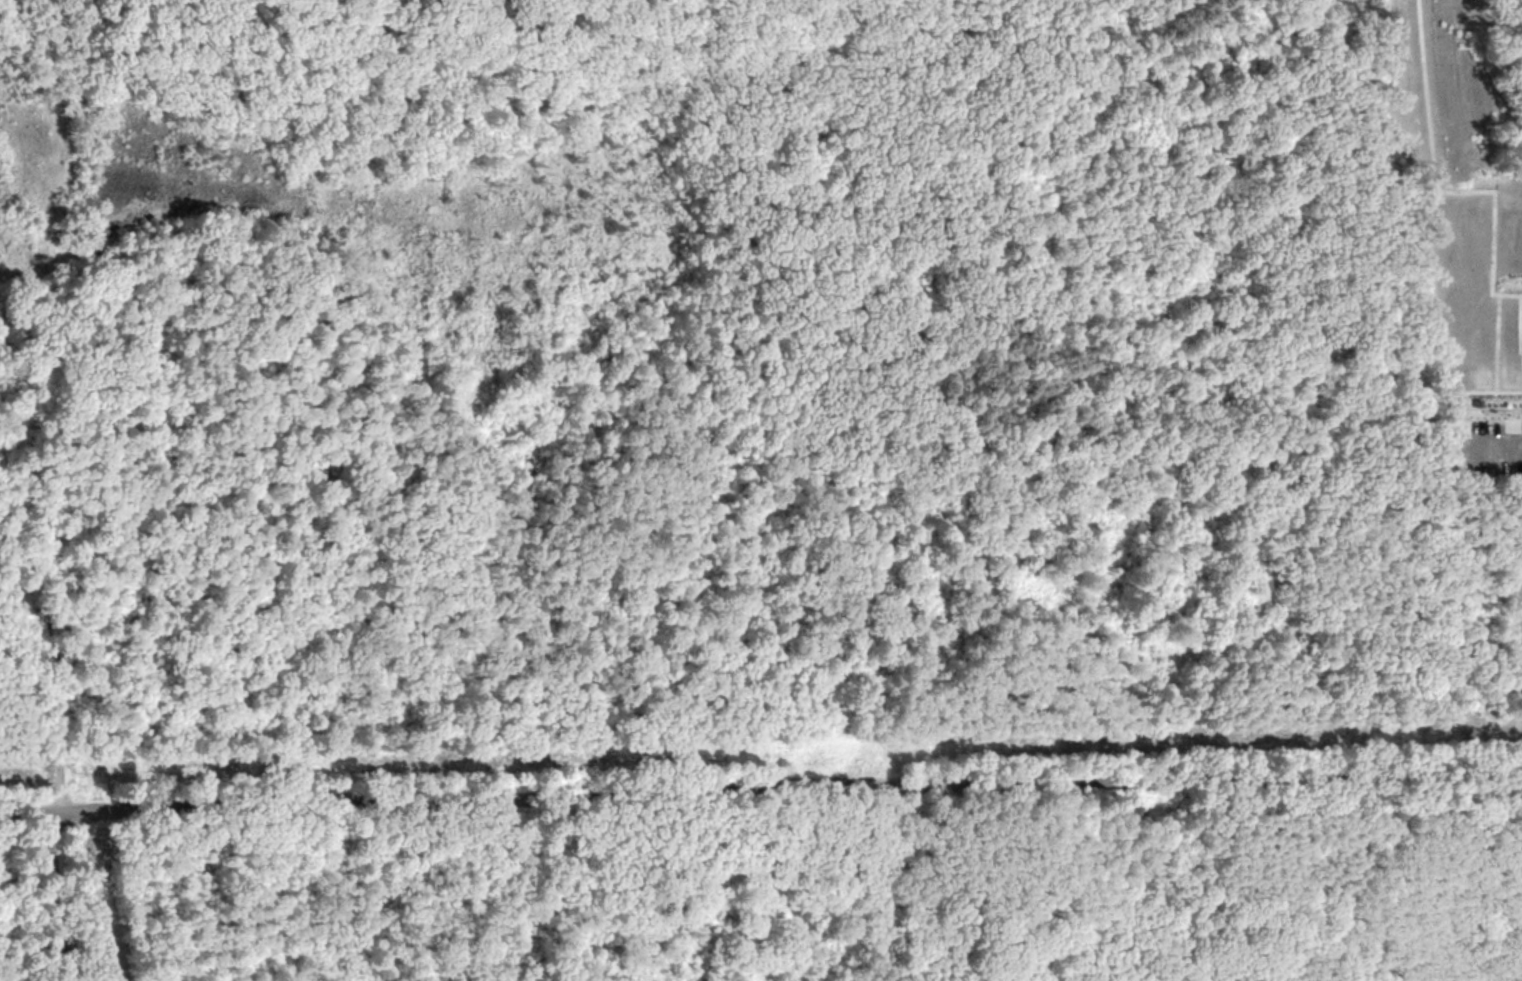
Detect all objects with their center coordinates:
quarry: (50, 28)
road: (41, 42)
road: (447, 44)
park: (1461, 324)
road: (1473, 407)
road: (1494, 440)
parking lot: (1490, 444)
building: (1445, 453)
park: (761, 490)
parking lot: (62, 633)
road: (62, 720)
road: (1512, 742)
road: (760, 789)
road: (62, 894)

